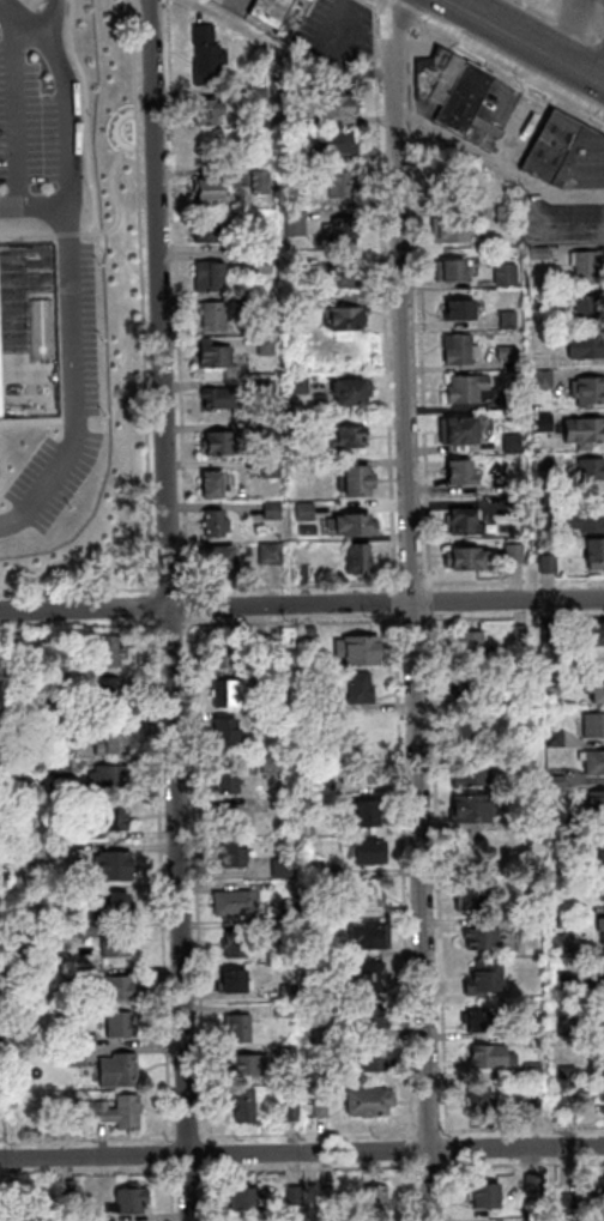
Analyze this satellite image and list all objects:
road: (368, 5)
building: (280, 14)
road: (394, 17)
road: (47, 20)
road: (562, 22)
road: (18, 25)
road: (338, 29)
parking lot: (340, 34)
road: (520, 46)
road: (292, 52)
building: (206, 56)
road: (411, 68)
road: (507, 79)
building: (452, 92)
building: (258, 98)
building: (334, 105)
building: (206, 111)
road: (13, 113)
road: (67, 115)
road: (89, 116)
building: (292, 116)
parking lot: (22, 119)
road: (412, 119)
road: (120, 131)
building: (336, 143)
building: (209, 151)
building: (567, 155)
building: (302, 157)
road: (497, 165)
building: (260, 183)
building: (340, 183)
building: (210, 193)
road: (34, 201)
building: (295, 203)
road: (121, 205)
building: (505, 214)
building: (295, 224)
parking lot: (564, 224)
building: (449, 229)
building: (339, 230)
building: (206, 232)
road: (32, 234)
road: (73, 235)
building: (539, 254)
building: (262, 265)
building: (585, 267)
building: (449, 271)
building: (505, 274)
building: (209, 277)
building: (346, 277)
road: (181, 292)
road: (145, 295)
road: (385, 295)
building: (539, 300)
building: (252, 304)
building: (587, 310)
building: (459, 312)
building: (212, 316)
building: (508, 320)
building: (344, 321)
parking lot: (81, 328)
building: (41, 330)
building: (265, 346)
building: (585, 347)
building: (290, 349)
building: (460, 350)
building: (505, 353)
building: (215, 357)
road: (423, 357)
road: (72, 380)
building: (543, 380)
building: (298, 386)
building: (265, 387)
building: (469, 389)
building: (587, 392)
building: (350, 394)
building: (219, 398)
building: (288, 404)
building: (509, 404)
building: (320, 405)
building: (543, 422)
building: (300, 429)
building: (270, 431)
building: (458, 431)
building: (584, 433)
building: (348, 437)
building: (219, 445)
building: (512, 445)
building: (544, 463)
building: (303, 466)
building: (271, 470)
building: (590, 470)
building: (460, 473)
parking lot: (52, 479)
building: (357, 480)
building: (215, 485)
building: (512, 491)
building: (271, 510)
building: (515, 510)
building: (304, 513)
building: (588, 519)
building: (463, 522)
building: (215, 525)
building: (355, 526)
building: (525, 532)
building: (268, 554)
building: (514, 554)
building: (594, 554)
building: (304, 556)
building: (222, 557)
building: (357, 560)
building: (465, 560)
road: (186, 564)
building: (548, 564)
road: (174, 576)
road: (514, 581)
road: (415, 584)
road: (297, 586)
road: (397, 586)
road: (203, 588)
road: (81, 591)
road: (398, 600)
road: (433, 600)
road: (195, 603)
road: (301, 603)
road: (156, 604)
road: (416, 609)
road: (174, 610)
road: (515, 616)
road: (415, 618)
road: (157, 621)
road: (294, 621)
road: (173, 623)
road: (80, 624)
building: (555, 633)
building: (596, 633)
building: (523, 634)
building: (309, 635)
building: (11, 639)
building: (472, 647)
building: (109, 649)
building: (361, 649)
building: (230, 657)
building: (554, 687)
building: (107, 688)
building: (363, 688)
building: (470, 688)
building: (599, 691)
building: (231, 693)
building: (525, 695)
building: (325, 705)
building: (333, 717)
building: (38, 719)
building: (267, 721)
building: (596, 725)
building: (366, 727)
building: (228, 733)
building: (467, 733)
building: (557, 737)
building: (111, 741)
building: (596, 763)
building: (274, 764)
building: (52, 766)
building: (366, 772)
building: (107, 775)
building: (475, 775)
building: (560, 781)
building: (229, 782)
building: (318, 785)
building: (598, 803)
building: (316, 804)
building: (476, 808)
building: (110, 815)
building: (368, 815)
building: (234, 817)
building: (18, 850)
building: (372, 852)
building: (237, 853)
building: (602, 857)
building: (111, 864)
building: (285, 868)
building: (318, 869)
road: (406, 875)
road: (442, 875)
road: (200, 880)
road: (165, 883)
building: (373, 895)
building: (472, 897)
building: (116, 902)
building: (237, 903)
building: (325, 909)
building: (292, 911)
building: (566, 923)
building: (603, 924)
building: (86, 930)
building: (369, 936)
building: (488, 938)
building: (115, 943)
building: (238, 944)
building: (563, 944)
building: (321, 951)
building: (603, 968)
building: (83, 969)
building: (375, 978)
building: (487, 978)
building: (569, 980)
building: (236, 983)
building: (116, 986)
building: (291, 993)
building: (331, 995)
building: (288, 1011)
building: (603, 1017)
building: (373, 1018)
building: (119, 1022)
building: (482, 1022)
building: (568, 1024)
building: (241, 1028)
building: (533, 1028)
building: (322, 1036)
building: (84, 1038)
building: (289, 1053)
building: (75, 1054)
building: (598, 1056)
building: (494, 1057)
building: (379, 1059)
building: (252, 1065)
building: (116, 1069)
building: (536, 1071)
building: (569, 1071)
building: (603, 1094)
building: (481, 1100)
building: (372, 1102)
building: (246, 1106)
building: (538, 1106)
building: (322, 1108)
building: (603, 1108)
building: (110, 1110)
building: (294, 1112)
road: (524, 1129)
road: (433, 1132)
road: (312, 1134)
road: (192, 1137)
road: (89, 1138)
road: (416, 1149)
road: (451, 1149)
road: (17, 1153)
road: (302, 1153)
road: (209, 1154)
road: (174, 1155)
road: (327, 1162)
road: (296, 1163)
road: (524, 1165)
road: (433, 1166)
road: (375, 1168)
road: (249, 1171)
road: (177, 1172)
road: (192, 1172)
building: (537, 1184)
building: (73, 1190)
road: (417, 1191)
road: (452, 1191)
road: (175, 1193)
road: (210, 1193)
building: (296, 1197)
building: (488, 1197)
building: (328, 1201)
building: (379, 1201)
building: (135, 1202)
building: (248, 1202)
building: (573, 1204)
building: (533, 1220)

